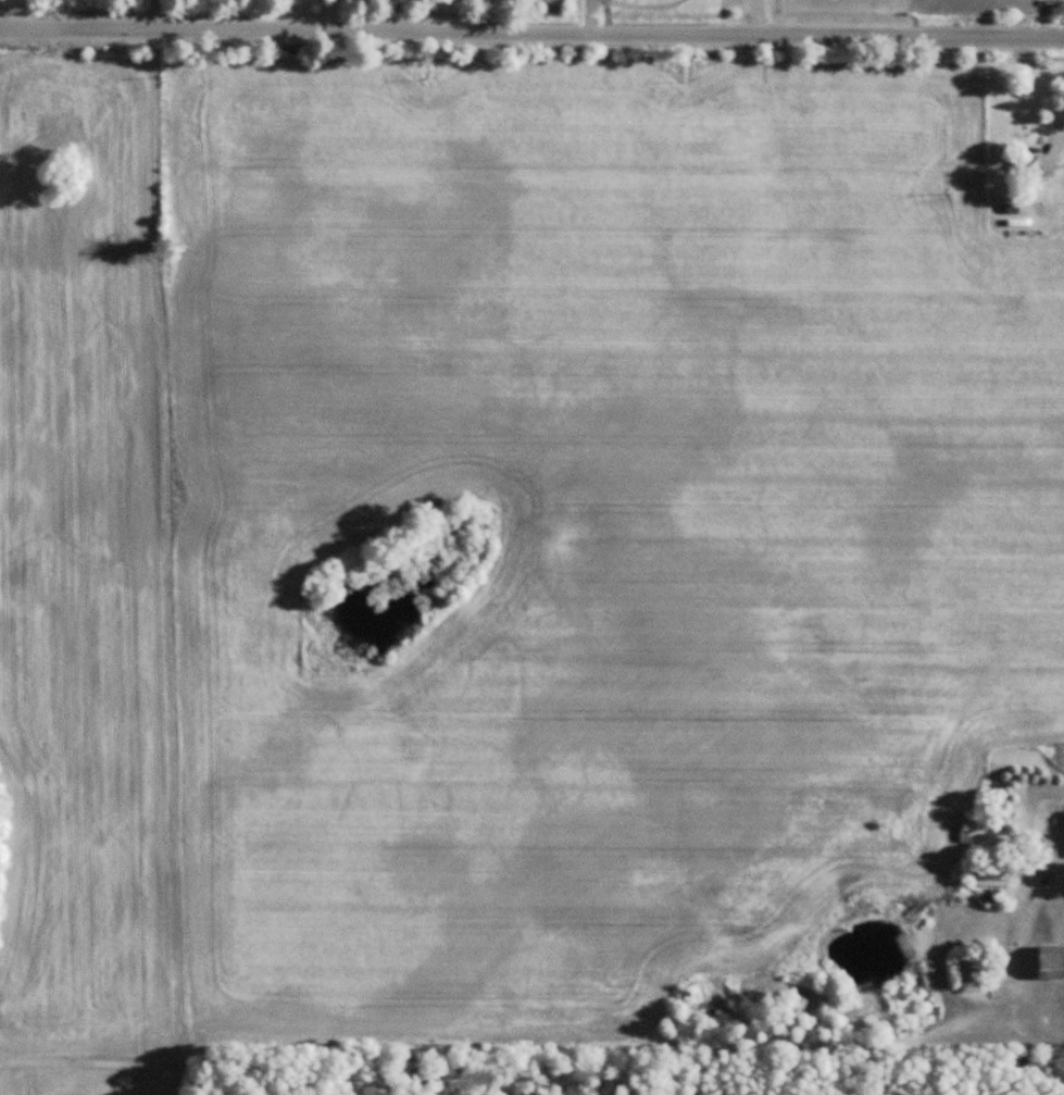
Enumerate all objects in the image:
road: (16, 15)
road: (531, 35)
building: (1024, 166)
building: (1063, 832)
building: (987, 874)
building: (1050, 963)
building: (968, 970)

